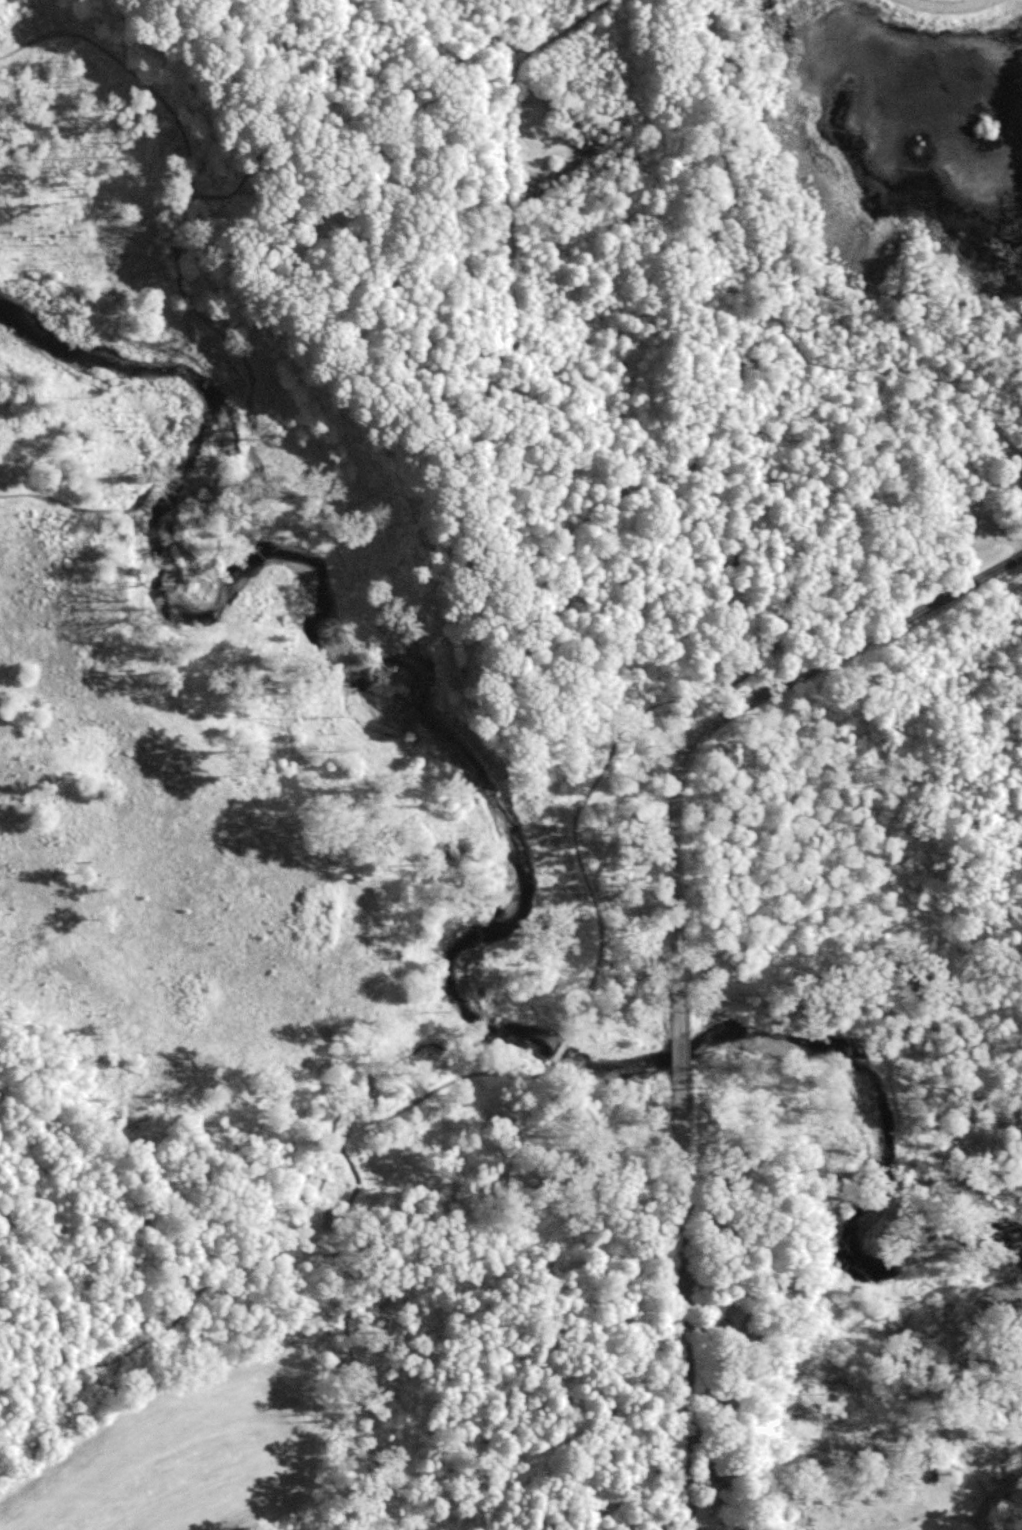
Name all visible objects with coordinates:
road: (950, 4)
road: (869, 634)
road: (686, 1117)
road: (993, 1497)

